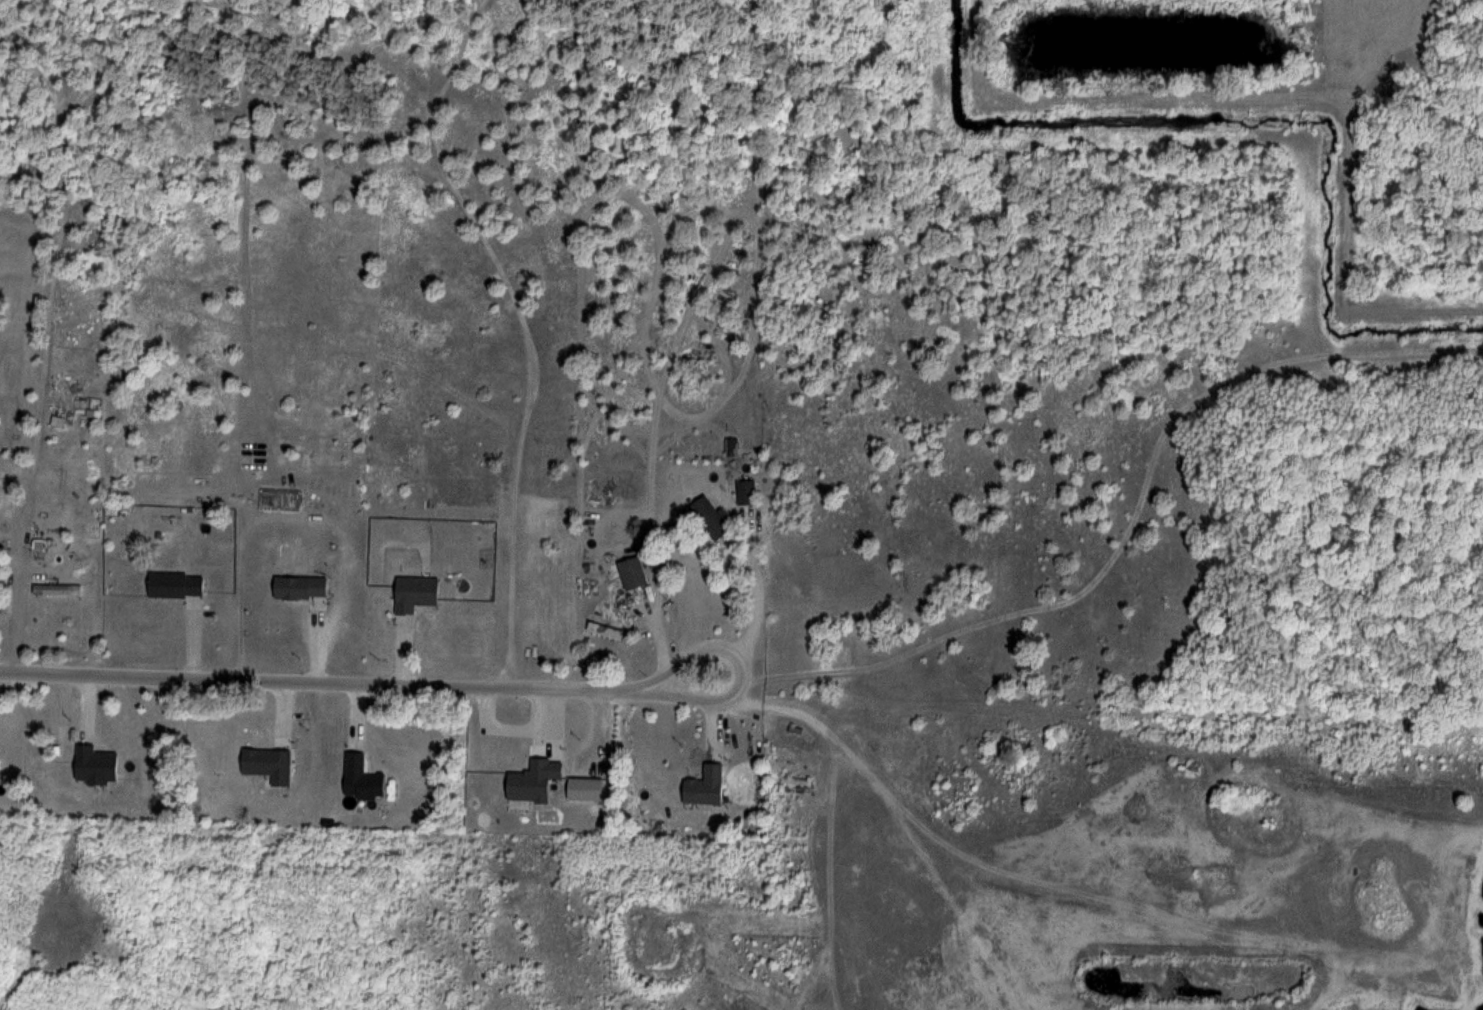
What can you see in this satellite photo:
building: (731, 447)
building: (746, 492)
building: (708, 516)
building: (630, 572)
building: (172, 584)
building: (58, 589)
building: (457, 604)
building: (606, 616)
building: (531, 646)
road: (379, 679)
road: (1347, 949)

